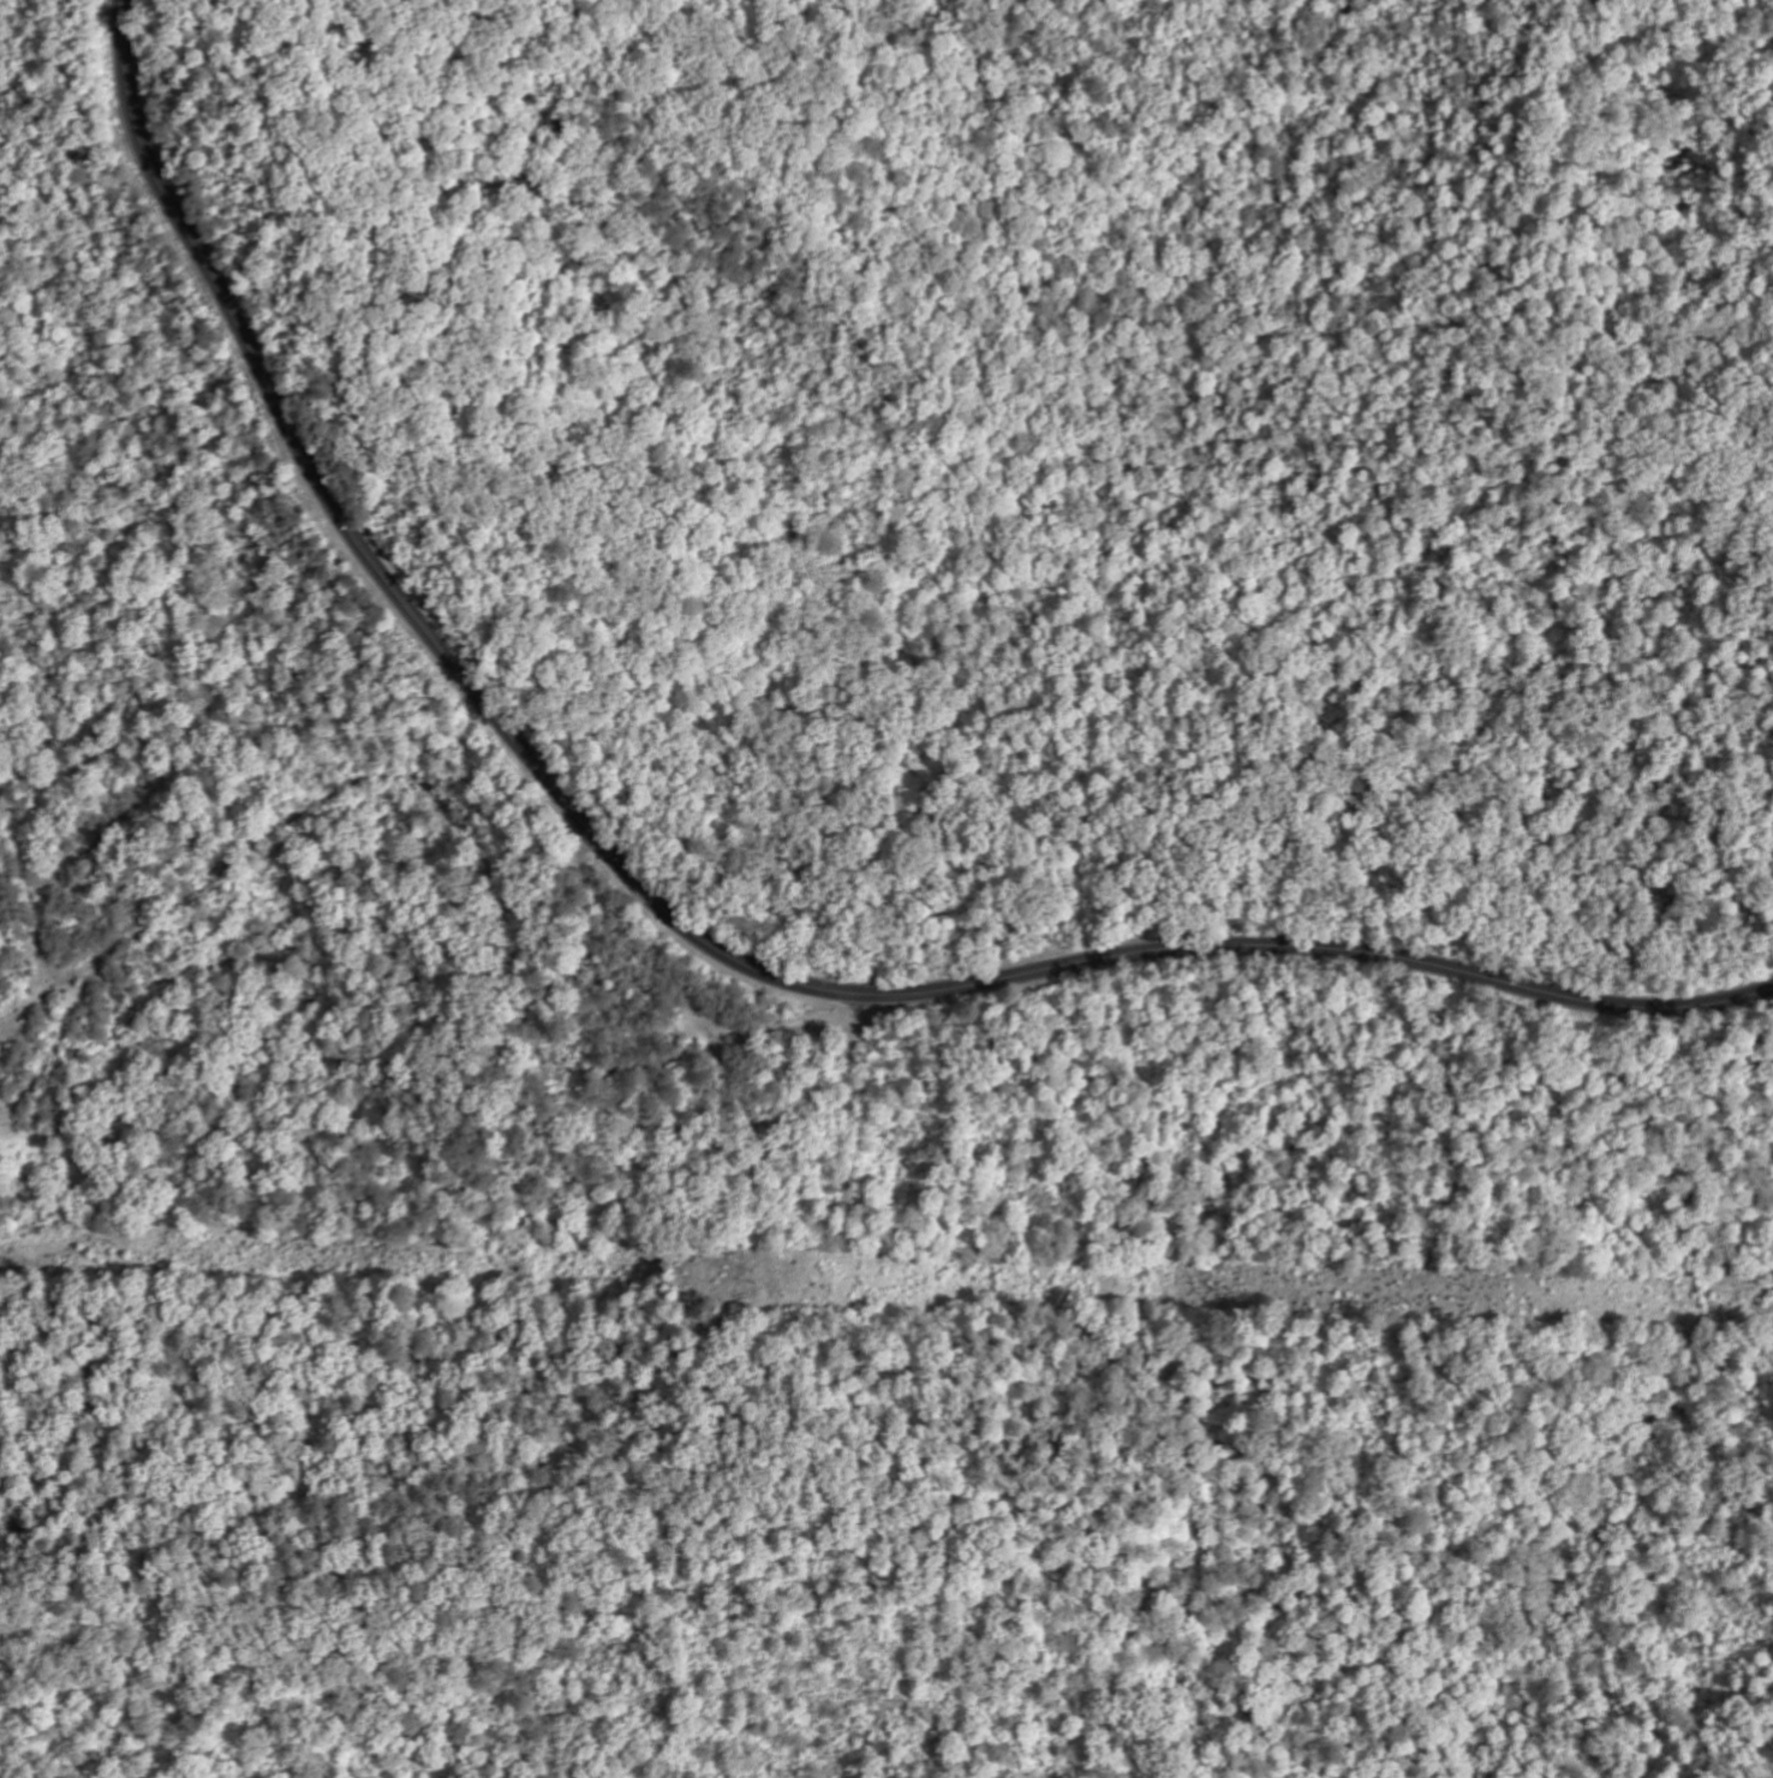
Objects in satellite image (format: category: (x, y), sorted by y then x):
road: (694, 924)
road: (499, 944)

